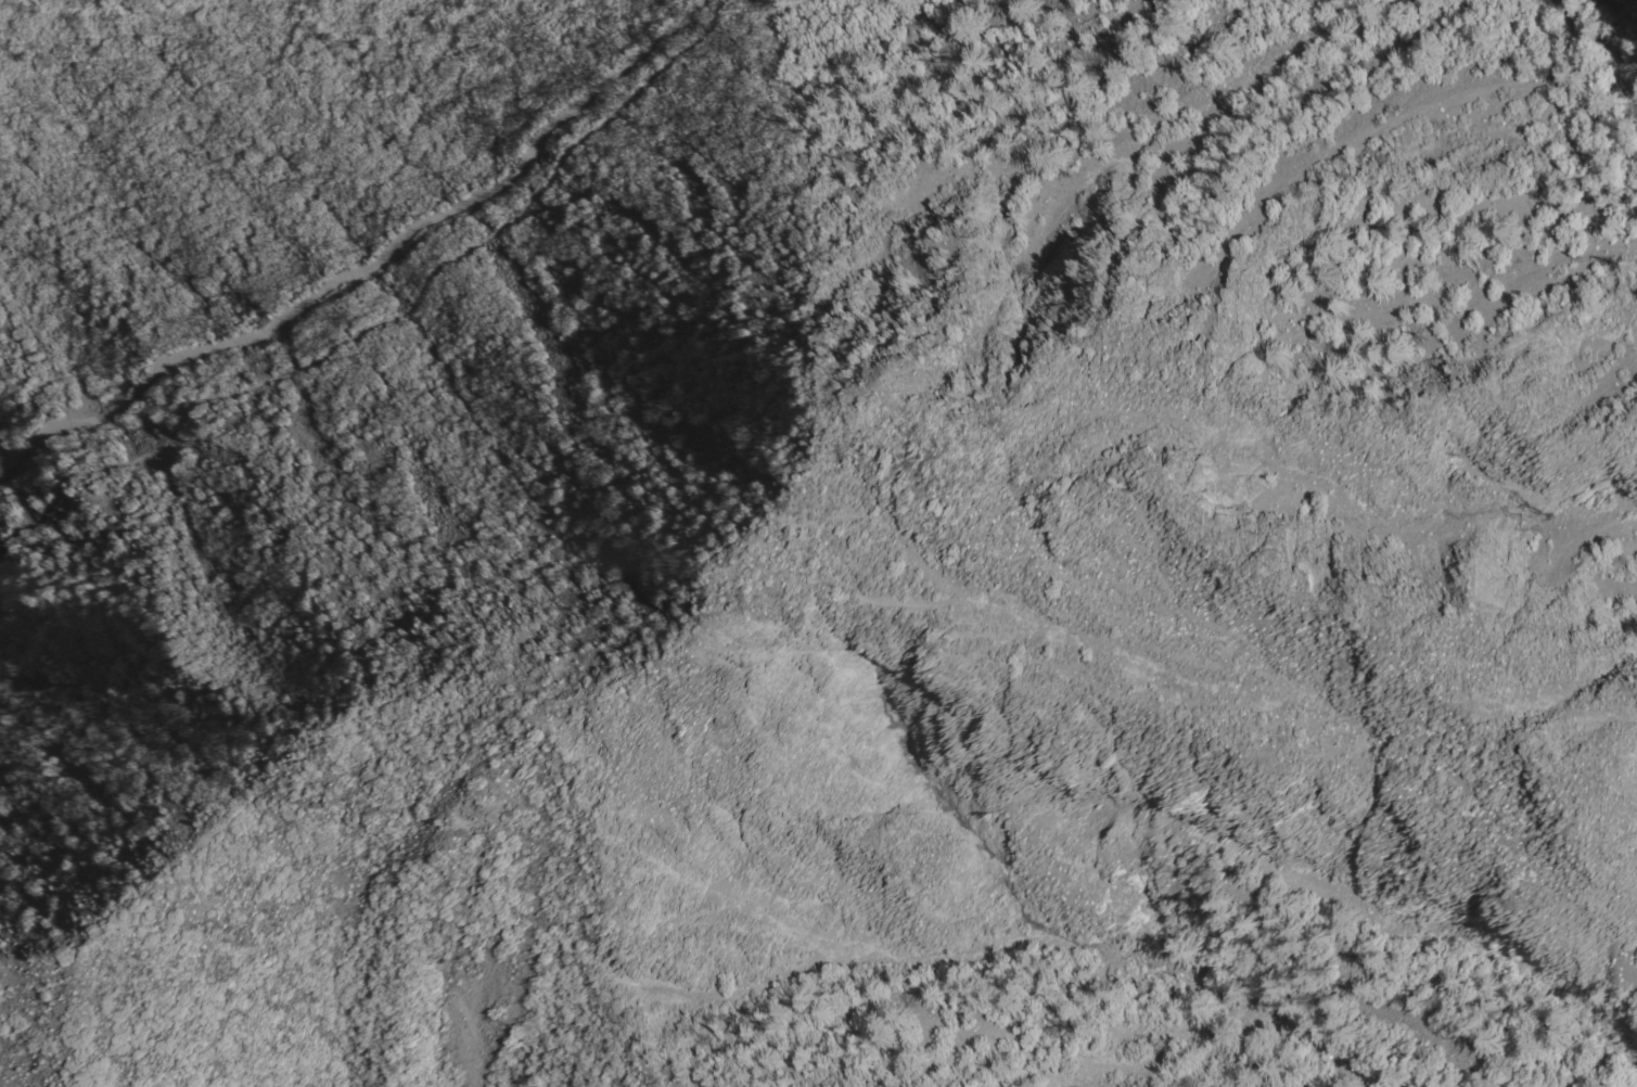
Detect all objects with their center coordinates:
road: (367, 269)
road: (375, 319)
road: (378, 708)

